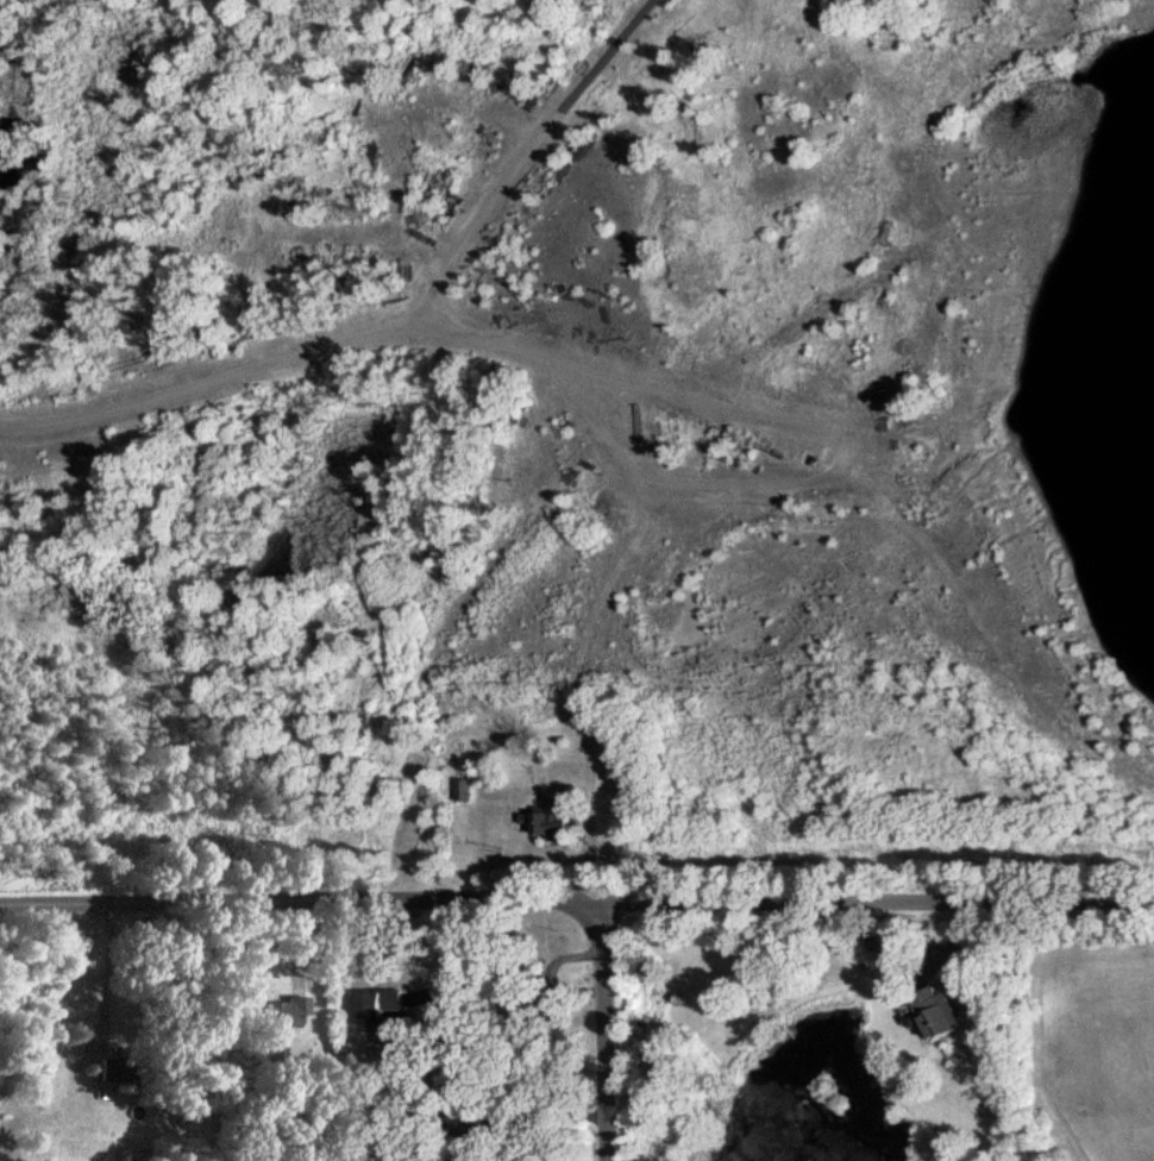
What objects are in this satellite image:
road: (415, 111)
road: (521, 157)
road: (349, 232)
road: (284, 356)
road: (826, 484)
building: (547, 815)
road: (897, 899)
road: (320, 902)
road: (102, 974)
building: (377, 1004)
building: (516, 1005)
building: (281, 1010)
building: (936, 1011)
road: (603, 1030)
building: (112, 1068)

